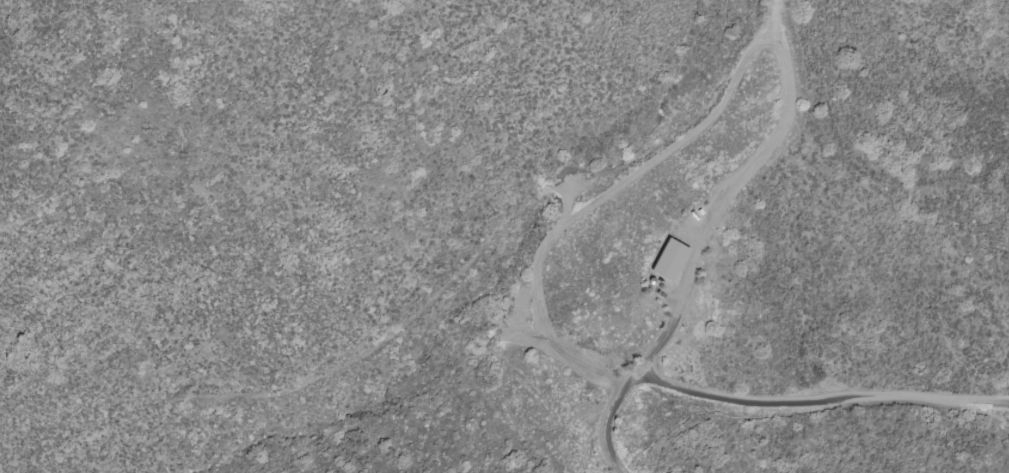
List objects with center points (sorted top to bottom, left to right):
road: (778, 408)
road: (605, 418)

